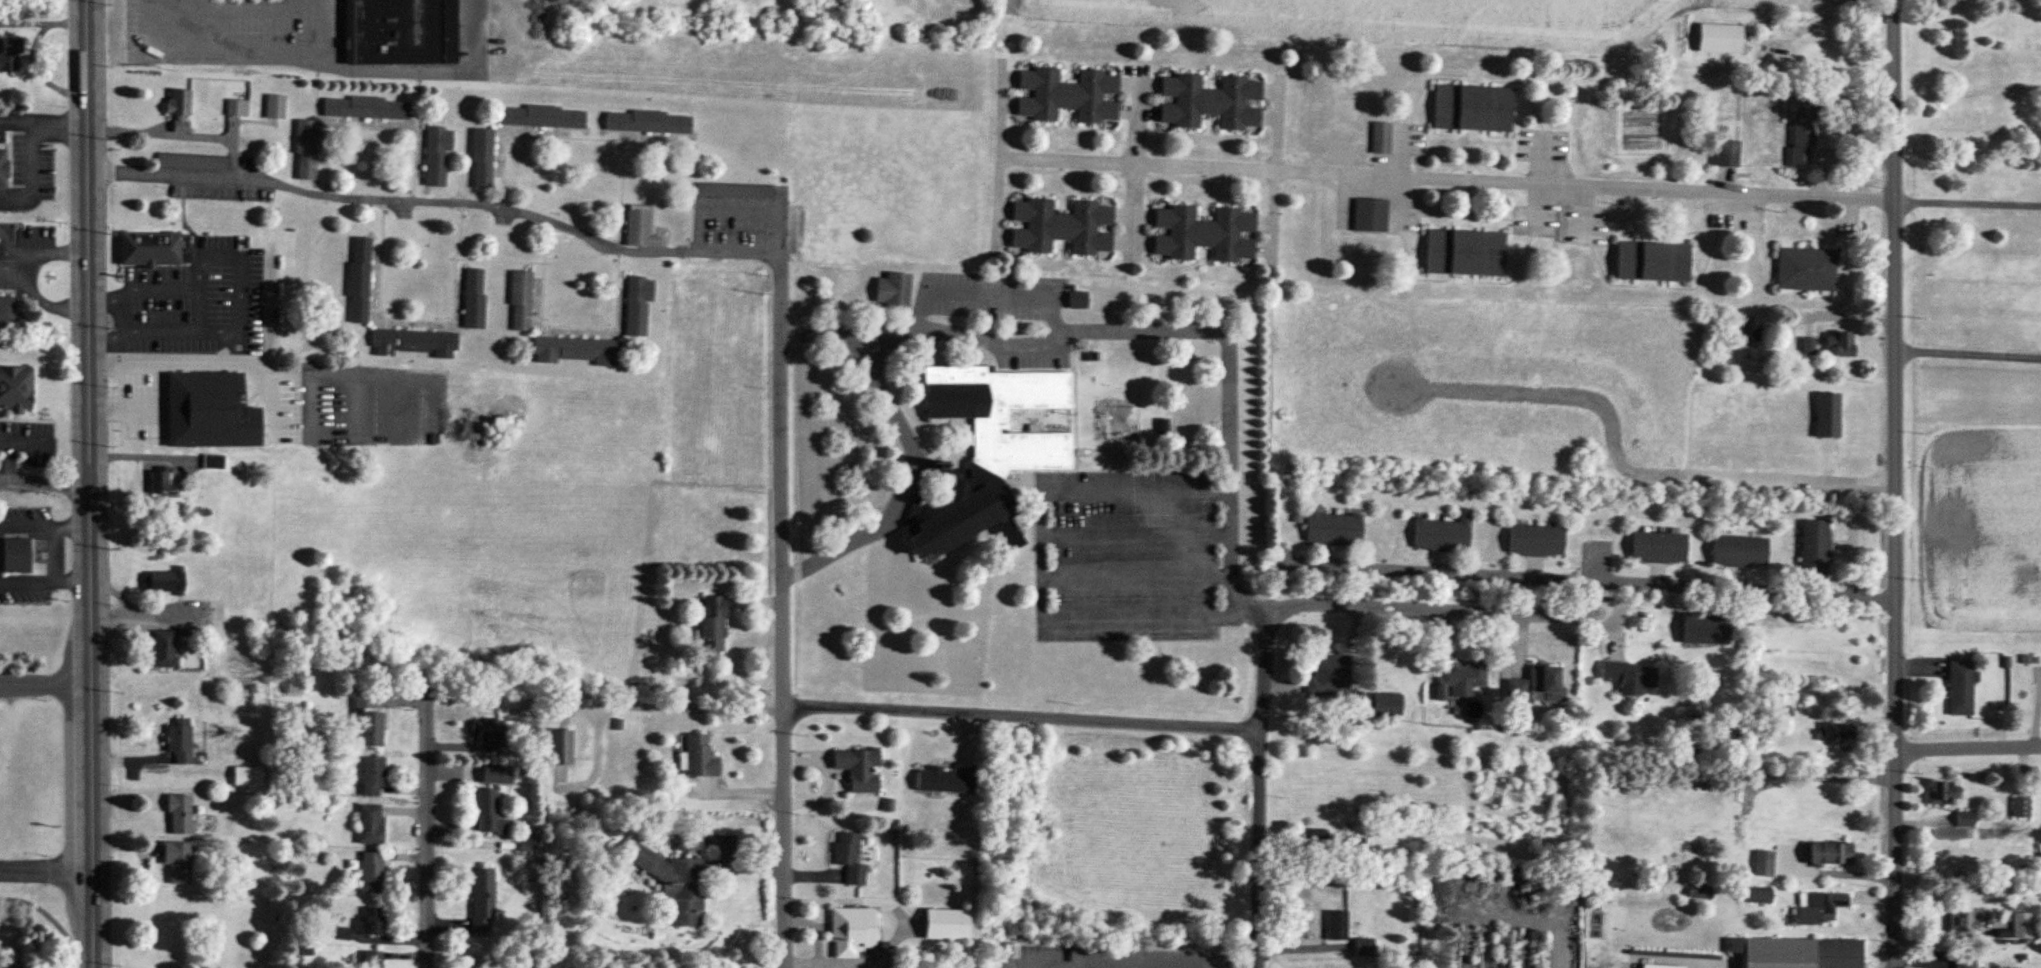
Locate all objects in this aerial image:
building: (399, 33)
building: (1720, 38)
building: (9, 56)
road: (88, 57)
building: (1067, 96)
building: (1209, 102)
building: (275, 108)
building: (237, 109)
building: (1472, 109)
building: (178, 110)
building: (365, 110)
building: (541, 118)
road: (17, 123)
building: (647, 123)
building: (1801, 132)
road: (59, 133)
road: (176, 135)
building: (1381, 139)
building: (306, 151)
building: (1727, 154)
road: (1001, 155)
road: (1399, 155)
building: (437, 156)
building: (482, 160)
road: (1543, 161)
road: (1134, 164)
building: (2, 170)
road: (1275, 170)
road: (1449, 179)
road: (31, 181)
road: (1397, 198)
road: (438, 202)
road: (1968, 203)
road: (1541, 205)
road: (718, 207)
building: (1370, 217)
building: (1061, 228)
building: (639, 229)
building: (1203, 234)
building: (154, 250)
road: (7, 251)
building: (1464, 253)
road: (53, 257)
building: (1653, 262)
building: (1806, 269)
road: (6, 276)
building: (359, 281)
building: (892, 290)
building: (474, 299)
building: (521, 301)
building: (1077, 301)
building: (638, 305)
building: (5, 307)
road: (44, 309)
road: (198, 315)
road: (1155, 329)
building: (1751, 329)
building: (413, 343)
building: (1843, 344)
building: (1808, 346)
building: (577, 351)
road: (1968, 354)
road: (128, 368)
building: (15, 390)
road: (110, 409)
building: (209, 412)
building: (1828, 415)
building: (986, 451)
building: (213, 462)
road: (5, 463)
building: (160, 481)
road: (906, 481)
road: (44, 484)
road: (1896, 484)
road: (71, 528)
road: (25, 529)
building: (1334, 529)
road: (1138, 534)
building: (1444, 534)
road: (90, 541)
building: (1536, 541)
building: (1658, 548)
building: (1815, 548)
building: (1739, 552)
building: (15, 556)
road: (51, 557)
road: (1042, 564)
road: (1138, 576)
road: (1585, 576)
building: (163, 582)
road: (25, 586)
road: (70, 586)
road: (785, 588)
road: (1446, 608)
building: (711, 625)
building: (1705, 630)
building: (164, 649)
building: (1329, 676)
building: (1630, 677)
building: (1461, 679)
building: (1547, 682)
road: (45, 684)
building: (1960, 688)
building: (1517, 691)
building: (1386, 705)
road: (1024, 716)
building: (369, 719)
building: (487, 731)
building: (1836, 733)
building: (1762, 737)
building: (180, 740)
building: (559, 746)
road: (1969, 746)
building: (699, 755)
building: (858, 767)
building: (496, 773)
building: (247, 775)
building: (372, 776)
building: (946, 778)
road: (1822, 780)
road: (1262, 792)
building: (1943, 793)
building: (2021, 808)
building: (488, 813)
building: (180, 814)
building: (1965, 819)
building: (369, 823)
building: (688, 840)
road: (428, 848)
building: (1829, 853)
building: (848, 856)
building: (176, 860)
building: (1763, 863)
building: (370, 871)
road: (46, 872)
building: (672, 882)
building: (1756, 896)
building: (481, 901)
building: (1821, 907)
building: (372, 920)
building: (1961, 921)
building: (945, 924)
building: (1337, 925)
building: (2021, 925)
building: (851, 930)
building: (1363, 947)
building: (1010, 950)
building: (1798, 953)
building: (370, 959)
building: (1965, 961)
road: (1073, 965)
road: (1064, 966)
building: (8, 967)

